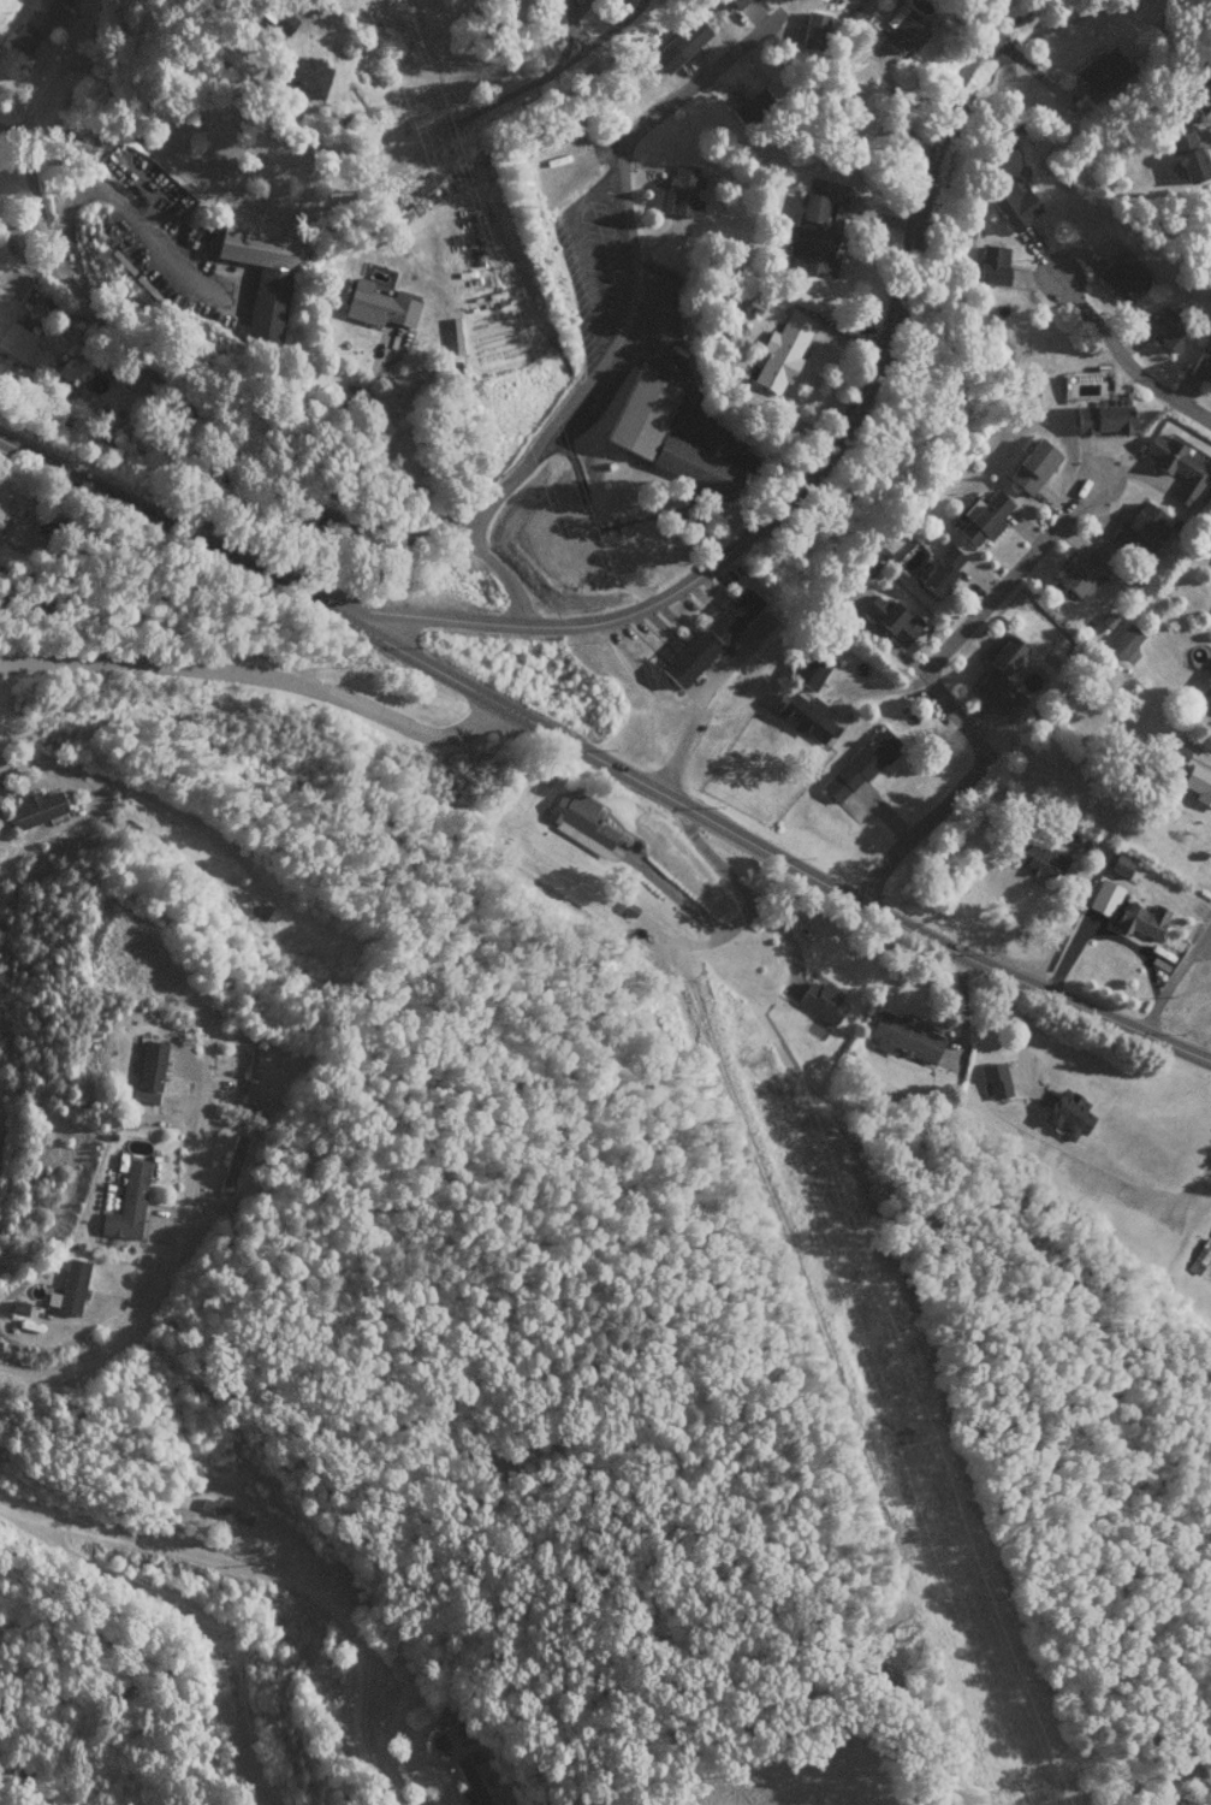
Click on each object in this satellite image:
building: (736, 2)
building: (283, 22)
road: (358, 24)
building: (812, 30)
building: (904, 32)
building: (24, 37)
building: (677, 45)
road: (425, 65)
building: (1099, 70)
building: (304, 73)
building: (1200, 88)
building: (749, 106)
road: (10, 130)
building: (1187, 155)
building: (683, 190)
road: (339, 195)
building: (1013, 205)
building: (815, 232)
building: (991, 265)
road: (633, 267)
building: (261, 276)
building: (1121, 278)
building: (379, 304)
building: (1168, 329)
building: (14, 341)
building: (782, 350)
road: (1122, 361)
building: (1200, 367)
building: (71, 368)
road: (162, 389)
building: (639, 413)
building: (1100, 419)
road: (817, 452)
building: (1031, 464)
building: (693, 466)
road: (376, 467)
building: (1176, 467)
building: (2, 505)
building: (983, 516)
building: (1138, 527)
building: (11, 533)
building: (1081, 568)
building: (939, 569)
building: (729, 614)
building: (890, 619)
building: (1123, 641)
building: (685, 658)
building: (1207, 664)
building: (808, 670)
building: (998, 671)
road: (257, 676)
road: (934, 688)
building: (1206, 694)
building: (803, 716)
road: (599, 761)
building: (857, 764)
building: (1198, 783)
building: (34, 809)
building: (578, 822)
building: (1075, 838)
building: (1039, 858)
building: (1118, 864)
building: (1104, 896)
building: (1141, 919)
road: (1170, 971)
building: (1204, 975)
building: (820, 1001)
road: (729, 1012)
building: (903, 1036)
building: (148, 1071)
building: (250, 1076)
building: (993, 1079)
road: (683, 1095)
building: (1067, 1114)
building: (230, 1164)
building: (126, 1202)
building: (1209, 1232)
building: (1203, 1251)
road: (162, 1271)
building: (69, 1288)
road: (7, 1511)
building: (224, 1511)
road: (281, 1584)
road: (188, 1620)
building: (468, 1782)

